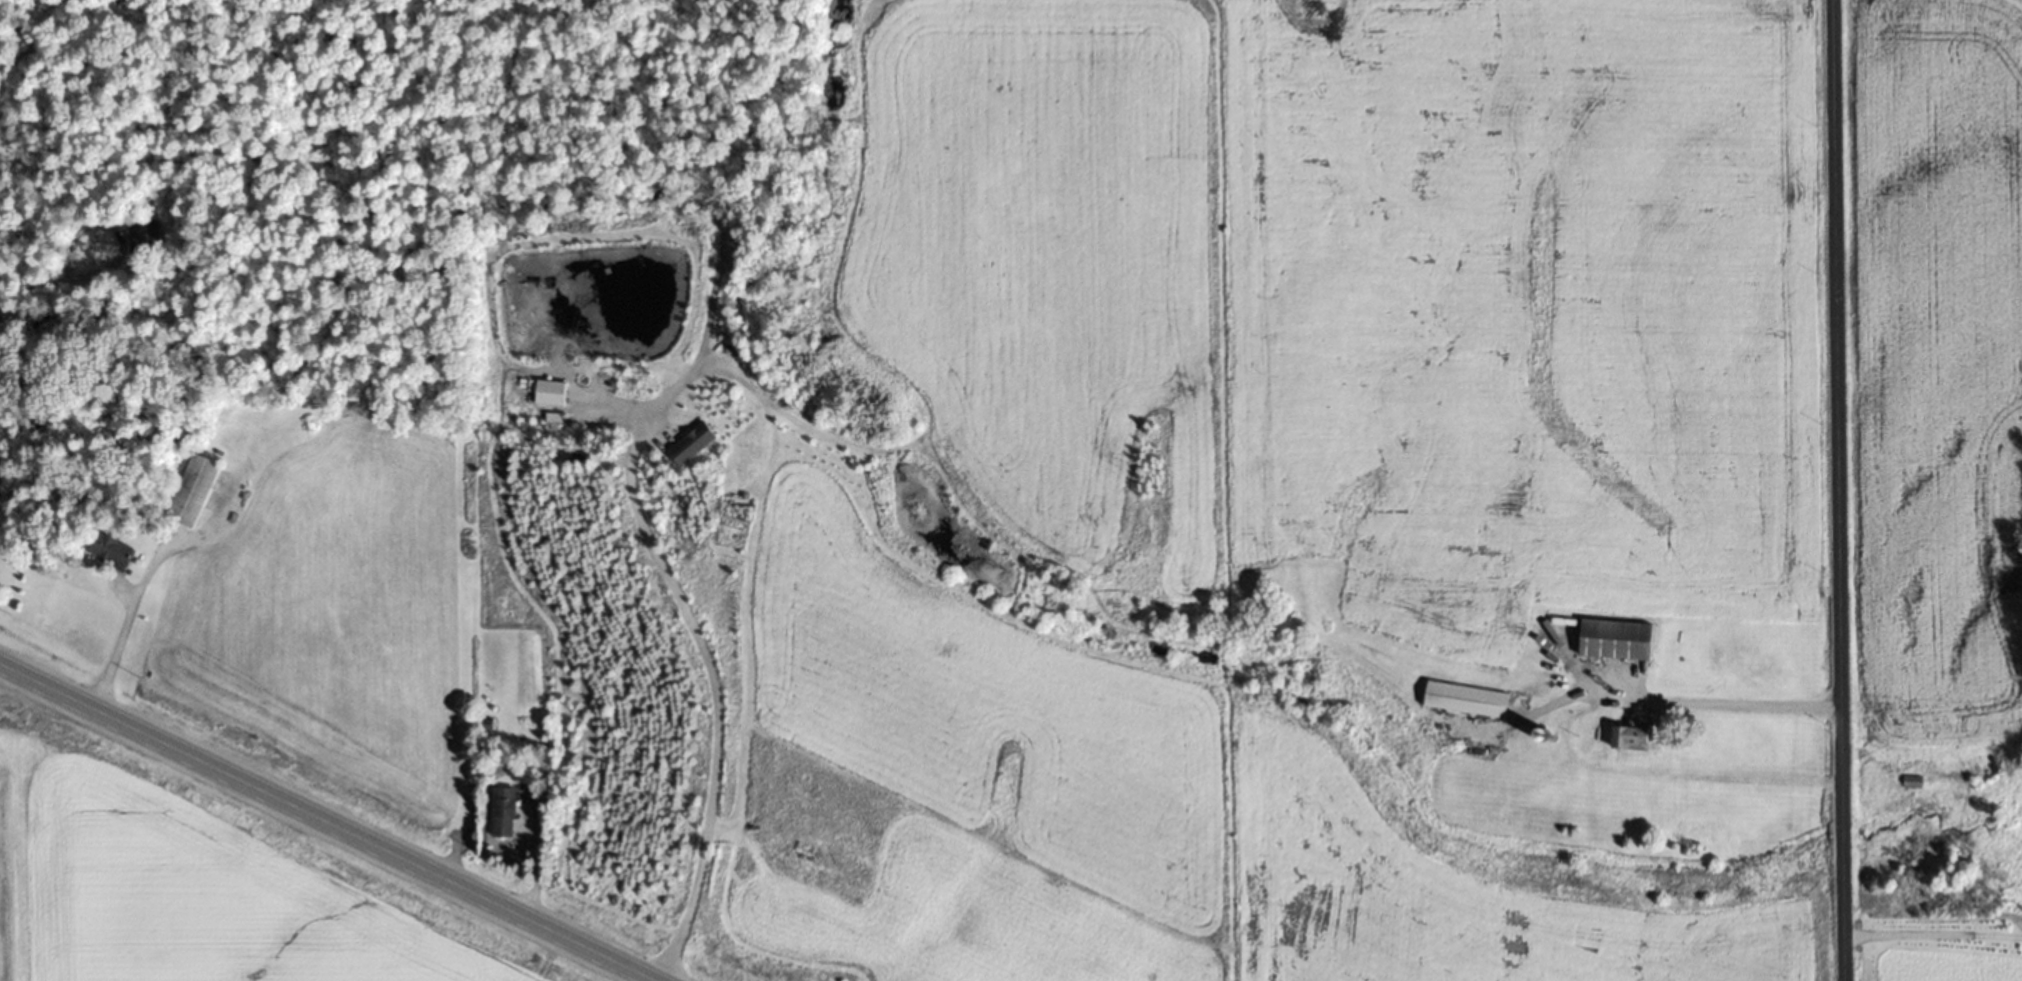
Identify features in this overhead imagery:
building: (143, 234)
building: (547, 391)
building: (191, 489)
road: (1840, 490)
building: (105, 547)
building: (1614, 637)
building: (1566, 687)
road: (716, 692)
road: (1736, 702)
building: (1495, 710)
building: (1629, 736)
building: (1910, 780)
building: (502, 811)
road: (329, 821)

